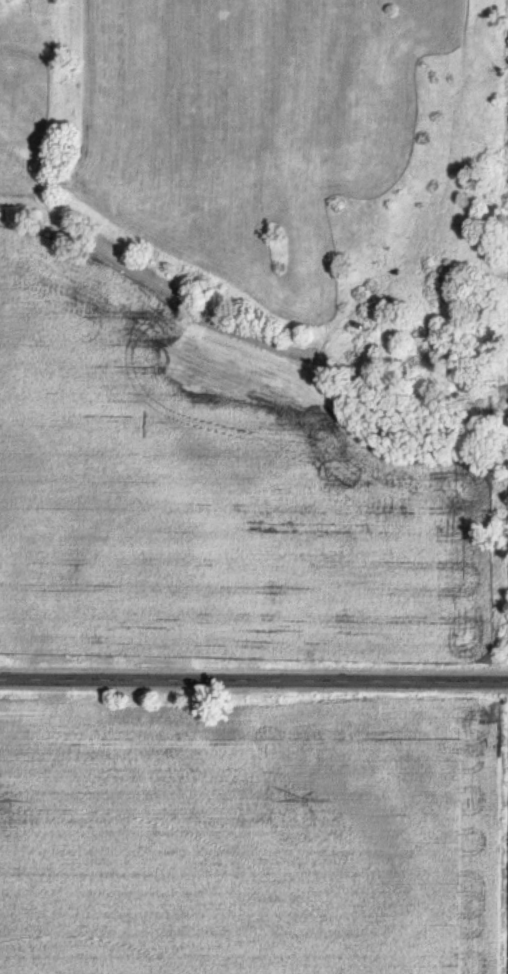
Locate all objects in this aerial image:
road: (254, 674)
power tower: (305, 799)

